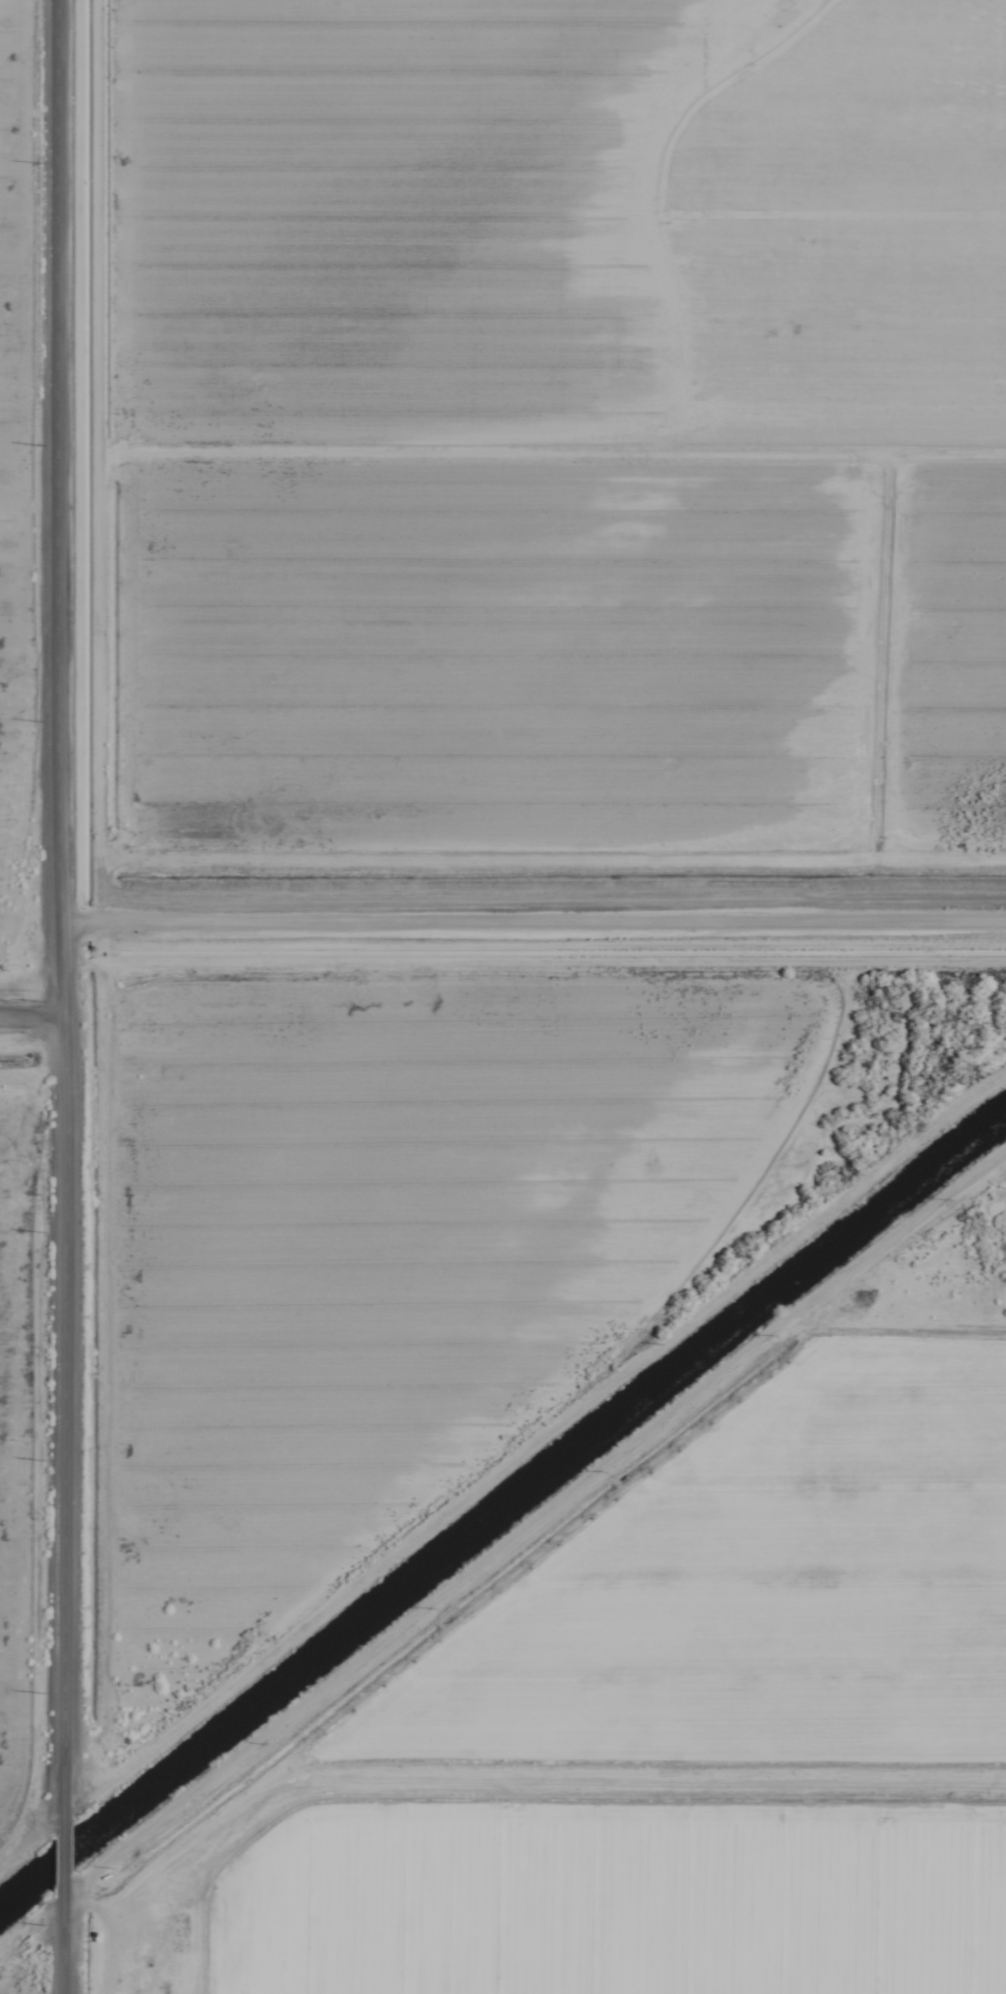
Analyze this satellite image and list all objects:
road: (85, 909)
road: (543, 964)
road: (38, 1053)
crop: (8, 1181)
road: (62, 1851)
road: (64, 1938)

